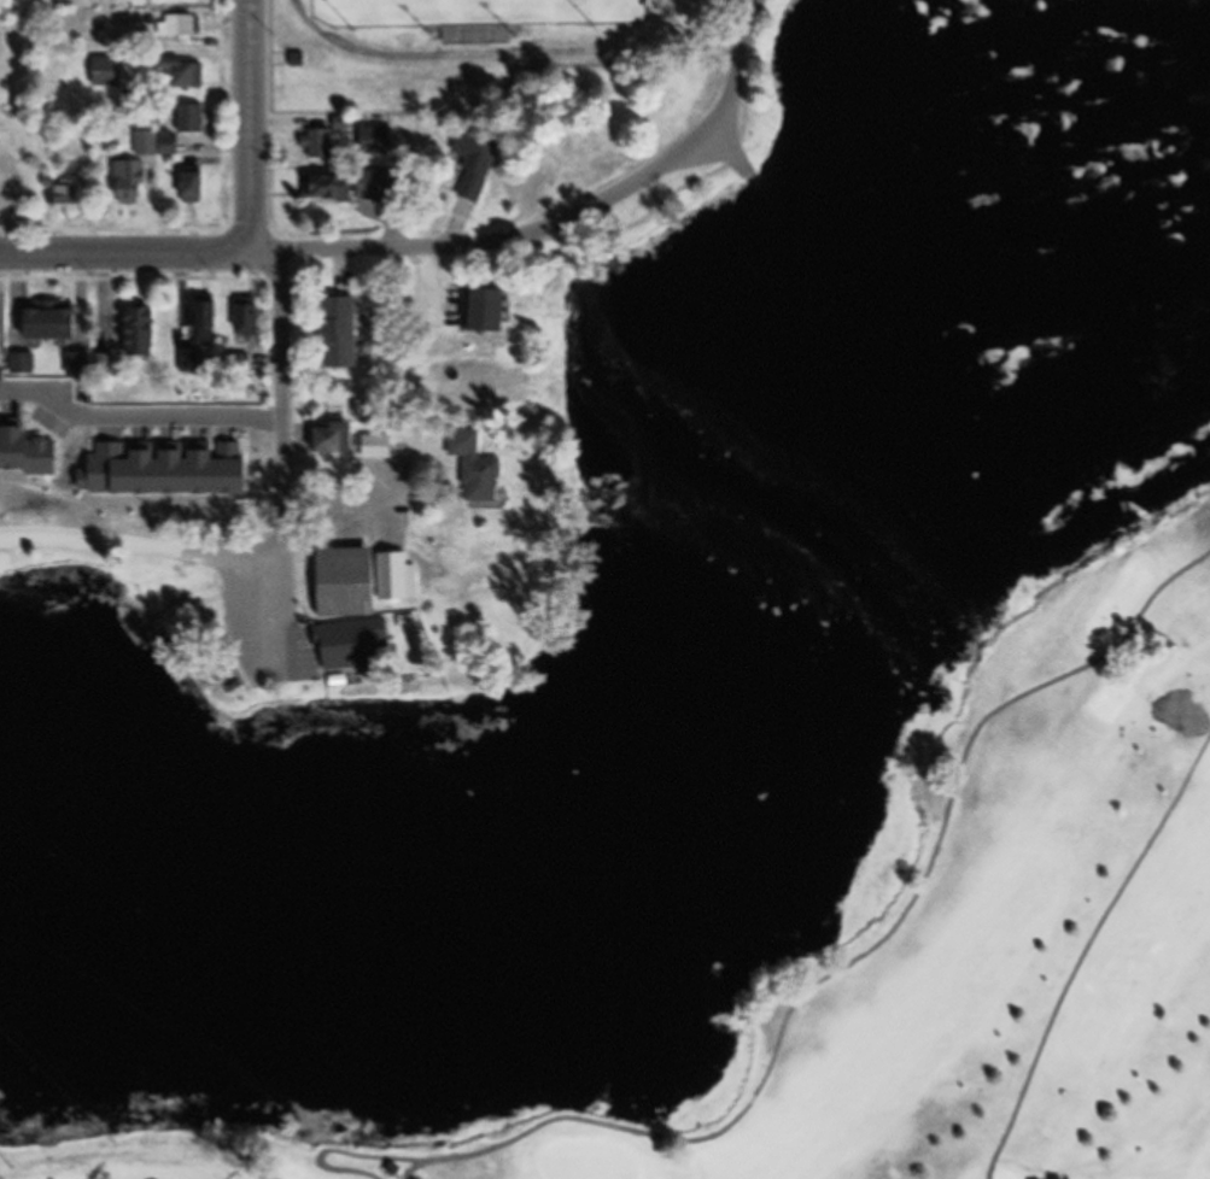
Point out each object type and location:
building: (180, 27)
park: (497, 54)
building: (110, 71)
building: (183, 75)
building: (194, 119)
road: (250, 128)
building: (368, 141)
building: (159, 143)
building: (316, 145)
building: (468, 163)
road: (662, 168)
building: (133, 183)
building: (197, 187)
building: (335, 187)
building: (5, 188)
building: (69, 200)
road: (363, 251)
road: (125, 256)
building: (475, 311)
building: (240, 321)
building: (41, 322)
building: (200, 324)
building: (130, 333)
building: (333, 333)
building: (18, 365)
building: (75, 366)
building: (103, 366)
road: (130, 413)
road: (282, 420)
building: (325, 439)
building: (370, 447)
building: (220, 468)
building: (475, 480)
road: (331, 499)
road: (142, 544)
building: (392, 577)
building: (339, 583)
park: (191, 605)
building: (349, 638)
river: (684, 802)
park: (978, 945)
road: (1085, 951)
road: (799, 1001)
park: (134, 1156)

